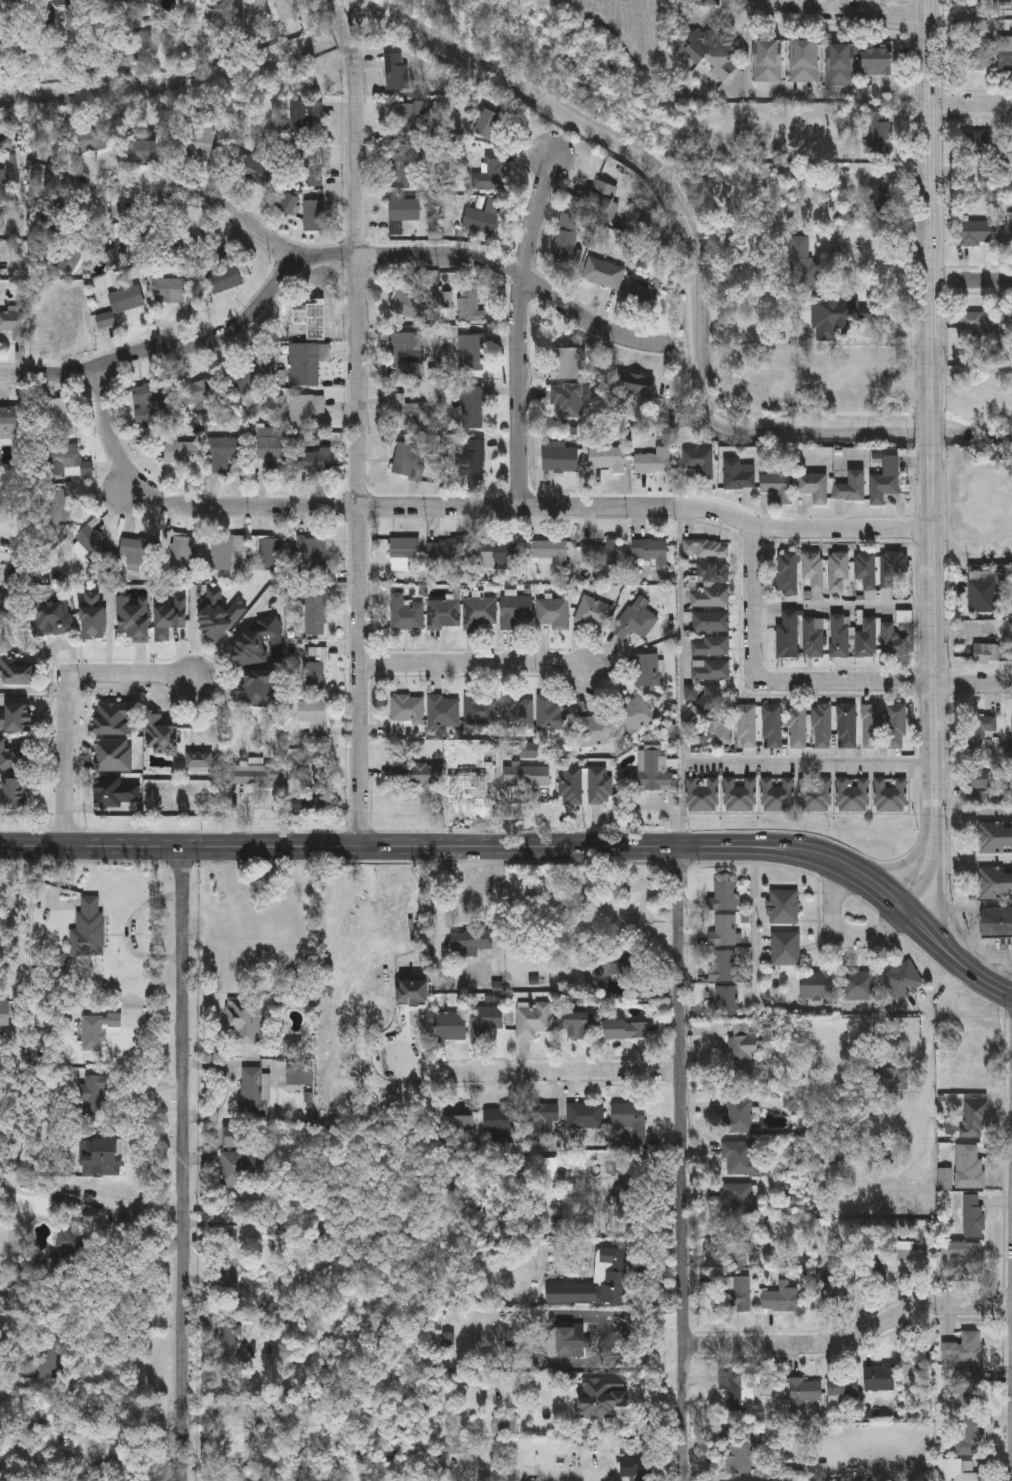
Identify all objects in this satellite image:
building: (286, 10)
road: (853, 13)
building: (55, 14)
building: (713, 54)
building: (1006, 54)
building: (979, 55)
building: (768, 62)
building: (804, 63)
building: (878, 63)
building: (841, 66)
building: (397, 73)
road: (970, 102)
building: (409, 118)
building: (306, 119)
building: (493, 127)
building: (93, 141)
building: (203, 141)
building: (978, 144)
building: (1006, 153)
building: (142, 154)
building: (309, 170)
building: (402, 171)
building: (254, 173)
building: (491, 175)
building: (2, 187)
building: (602, 200)
building: (290, 206)
road: (929, 206)
building: (405, 212)
building: (314, 218)
building: (484, 219)
building: (977, 235)
road: (882, 236)
building: (1004, 236)
building: (567, 239)
building: (163, 241)
building: (124, 252)
road: (391, 255)
building: (69, 259)
building: (801, 262)
building: (605, 275)
road: (970, 280)
building: (224, 281)
building: (167, 292)
building: (642, 297)
building: (471, 306)
building: (119, 307)
building: (409, 308)
building: (60, 313)
building: (830, 317)
building: (307, 319)
building: (975, 323)
building: (15, 326)
road: (522, 327)
building: (1005, 327)
road: (218, 339)
building: (467, 354)
building: (407, 359)
building: (566, 364)
building: (306, 366)
road: (55, 373)
building: (249, 377)
road: (972, 381)
building: (635, 391)
building: (198, 393)
building: (148, 401)
building: (567, 402)
building: (471, 406)
building: (305, 410)
building: (408, 413)
building: (64, 418)
road: (359, 420)
building: (10, 425)
road: (931, 429)
building: (270, 446)
building: (182, 454)
building: (221, 455)
building: (475, 459)
building: (560, 459)
building: (65, 460)
building: (607, 461)
building: (409, 462)
building: (313, 463)
building: (654, 463)
building: (701, 463)
park: (978, 465)
building: (739, 476)
building: (886, 481)
building: (778, 488)
building: (814, 488)
building: (852, 489)
road: (472, 504)
building: (62, 509)
building: (94, 546)
building: (404, 550)
building: (706, 551)
building: (452, 552)
building: (138, 553)
building: (182, 553)
building: (227, 553)
building: (549, 554)
building: (602, 554)
building: (651, 554)
building: (269, 555)
building: (312, 555)
building: (499, 555)
building: (893, 569)
building: (814, 572)
building: (867, 572)
building: (713, 574)
building: (788, 574)
building: (839, 574)
building: (983, 595)
building: (711, 599)
road: (844, 606)
building: (515, 612)
building: (51, 614)
building: (219, 614)
building: (316, 614)
building: (553, 614)
building: (592, 614)
building: (406, 615)
building: (480, 615)
building: (444, 616)
building: (94, 618)
building: (133, 620)
building: (171, 621)
building: (635, 623)
building: (711, 623)
building: (788, 637)
building: (840, 638)
building: (813, 640)
building: (867, 640)
building: (894, 643)
building: (257, 644)
building: (712, 648)
building: (986, 655)
road: (479, 662)
building: (314, 671)
building: (649, 672)
building: (711, 672)
building: (18, 674)
road: (681, 674)
road: (934, 682)
road: (807, 685)
building: (260, 688)
road: (69, 700)
building: (709, 701)
building: (407, 711)
building: (480, 711)
building: (444, 713)
building: (518, 714)
building: (551, 716)
building: (635, 717)
building: (314, 718)
building: (17, 720)
building: (117, 720)
building: (746, 727)
building: (772, 727)
building: (822, 727)
building: (848, 727)
building: (872, 727)
building: (897, 727)
building: (797, 728)
building: (723, 731)
building: (594, 732)
building: (980, 732)
building: (704, 736)
building: (162, 737)
building: (529, 750)
building: (114, 757)
building: (199, 759)
building: (14, 760)
road: (808, 761)
building: (652, 773)
building: (417, 776)
building: (259, 777)
building: (530, 778)
building: (980, 785)
building: (600, 786)
building: (570, 787)
building: (116, 794)
building: (740, 795)
building: (15, 796)
building: (702, 796)
building: (778, 796)
building: (816, 796)
building: (853, 796)
building: (890, 797)
road: (973, 815)
building: (995, 839)
road: (444, 845)
road: (972, 859)
building: (995, 885)
building: (722, 894)
road: (898, 897)
building: (783, 906)
road: (24, 920)
building: (997, 923)
road: (969, 925)
building: (87, 929)
building: (722, 930)
road: (842, 936)
building: (469, 941)
building: (786, 948)
building: (371, 951)
road: (958, 960)
building: (615, 962)
building: (722, 965)
road: (987, 966)
building: (902, 980)
building: (818, 984)
building: (858, 985)
building: (725, 1000)
building: (4, 1014)
building: (485, 1019)
building: (530, 1019)
building: (241, 1021)
building: (574, 1024)
building: (450, 1025)
building: (96, 1029)
building: (624, 1029)
building: (741, 1051)
road: (560, 1072)
building: (299, 1074)
building: (898, 1077)
building: (250, 1089)
road: (860, 1092)
building: (91, 1093)
building: (584, 1115)
building: (740, 1115)
building: (626, 1116)
building: (499, 1118)
building: (975, 1119)
building: (536, 1120)
building: (457, 1122)
building: (236, 1136)
building: (100, 1155)
building: (740, 1156)
road: (185, 1163)
road: (682, 1163)
building: (969, 1167)
building: (231, 1169)
building: (740, 1197)
building: (627, 1199)
road: (135, 1206)
building: (973, 1215)
building: (67, 1241)
building: (739, 1253)
building: (963, 1254)
building: (227, 1258)
building: (910, 1261)
building: (613, 1267)
building: (870, 1268)
building: (829, 1287)
building: (735, 1293)
building: (780, 1296)
building: (229, 1337)
road: (849, 1337)
building: (564, 1342)
building: (964, 1348)
building: (915, 1360)
building: (879, 1378)
building: (610, 1385)
building: (583, 1387)
building: (968, 1388)
building: (740, 1390)
building: (804, 1393)
building: (841, 1393)
building: (499, 1423)
building: (972, 1434)
building: (736, 1445)
building: (450, 1450)
building: (634, 1468)
building: (813, 1470)
building: (959, 1471)

